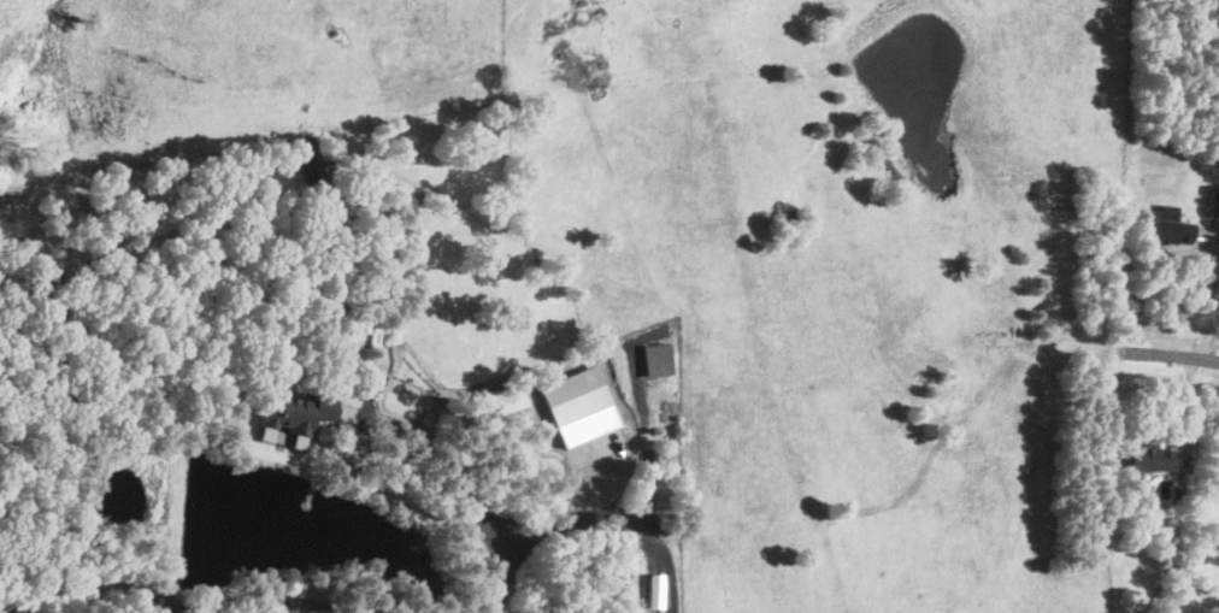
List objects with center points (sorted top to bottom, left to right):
building: (310, 161)
building: (1214, 205)
building: (1168, 234)
road: (1174, 355)
building: (658, 360)
building: (576, 395)
building: (506, 397)
building: (296, 411)
building: (1148, 460)
building: (1178, 494)
road: (500, 535)
building: (1214, 576)
building: (655, 590)
road: (169, 599)

